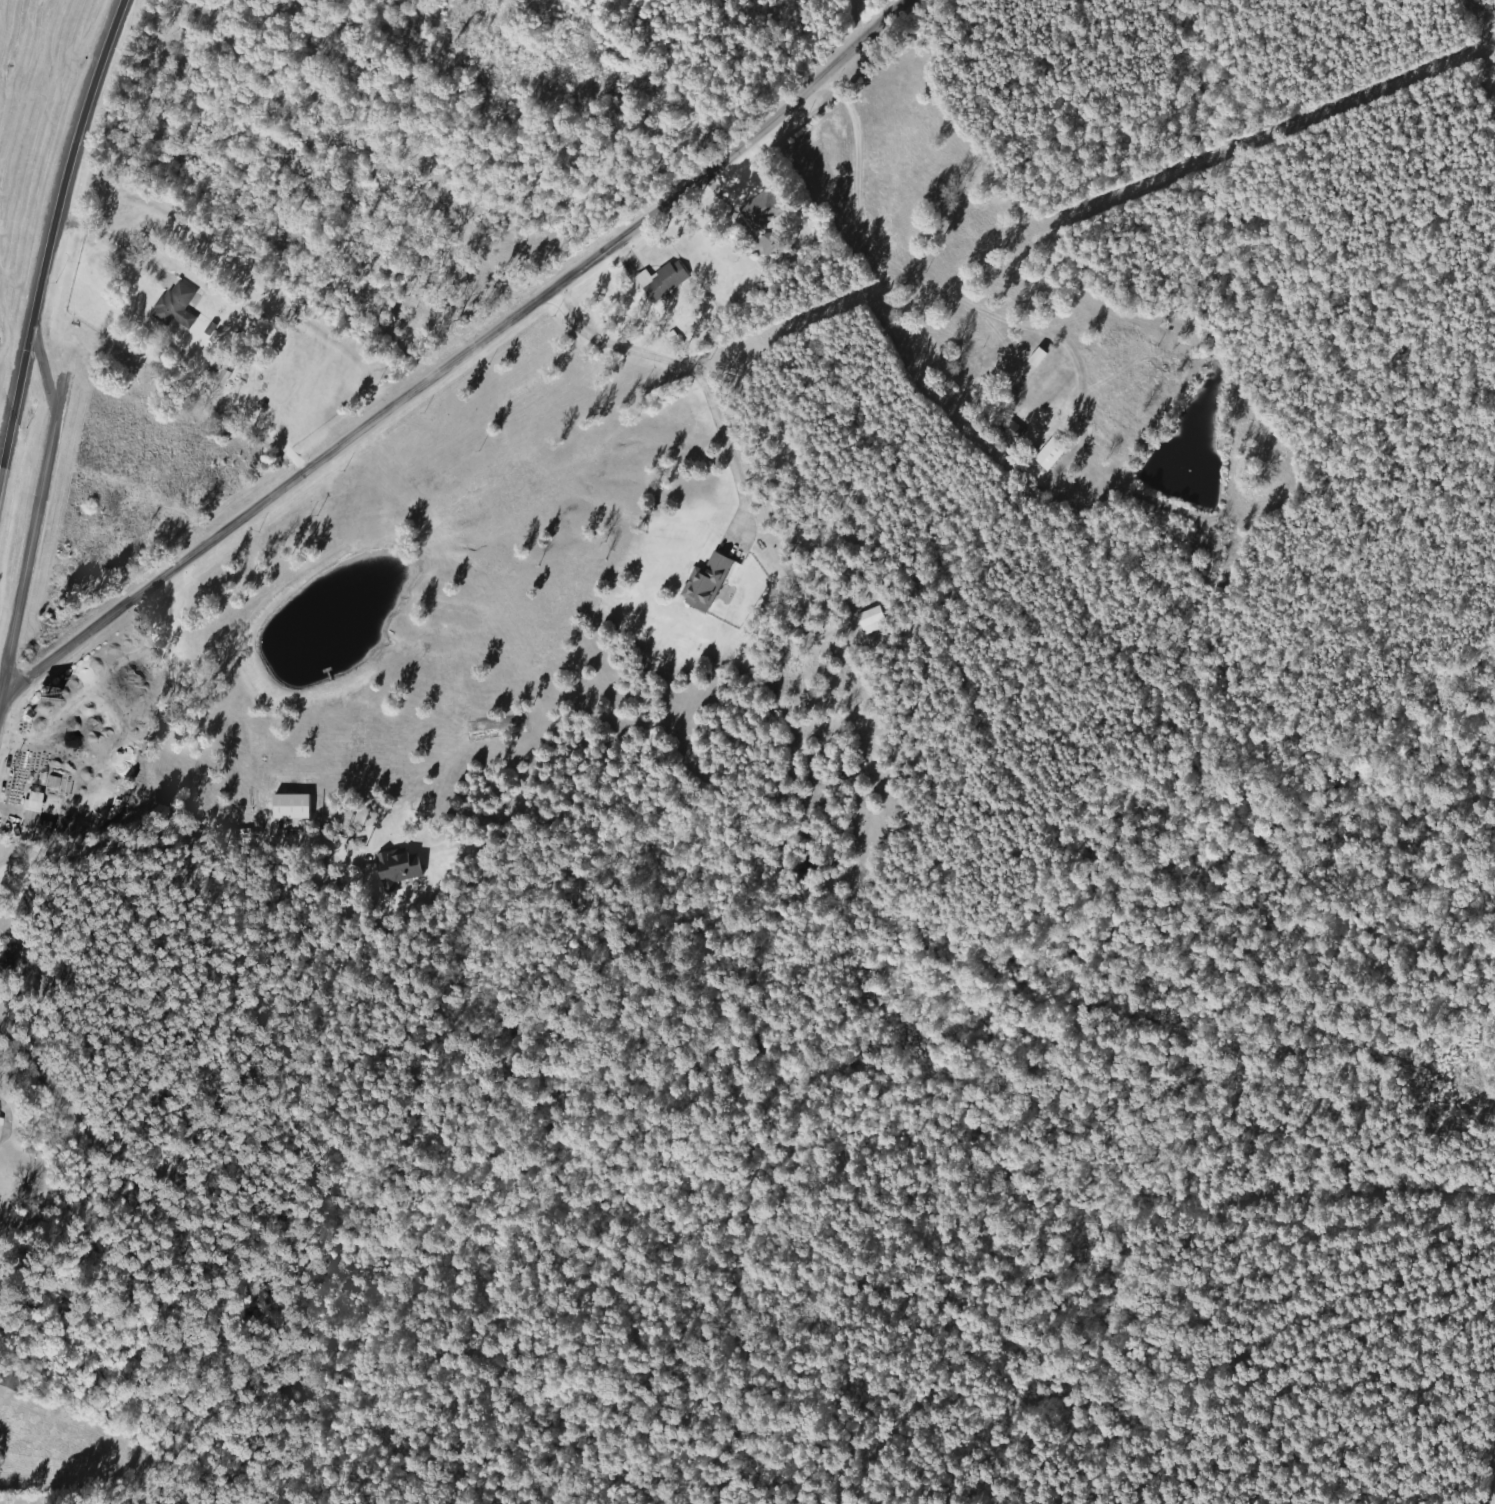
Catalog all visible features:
building: (761, 206)
road: (46, 230)
road: (873, 253)
road: (1461, 273)
building: (659, 279)
building: (172, 304)
road: (460, 354)
road: (43, 366)
road: (693, 376)
building: (1012, 431)
building: (1045, 453)
road: (33, 525)
building: (701, 582)
building: (866, 619)
building: (26, 810)
building: (394, 864)
building: (6, 957)
building: (9, 1379)

